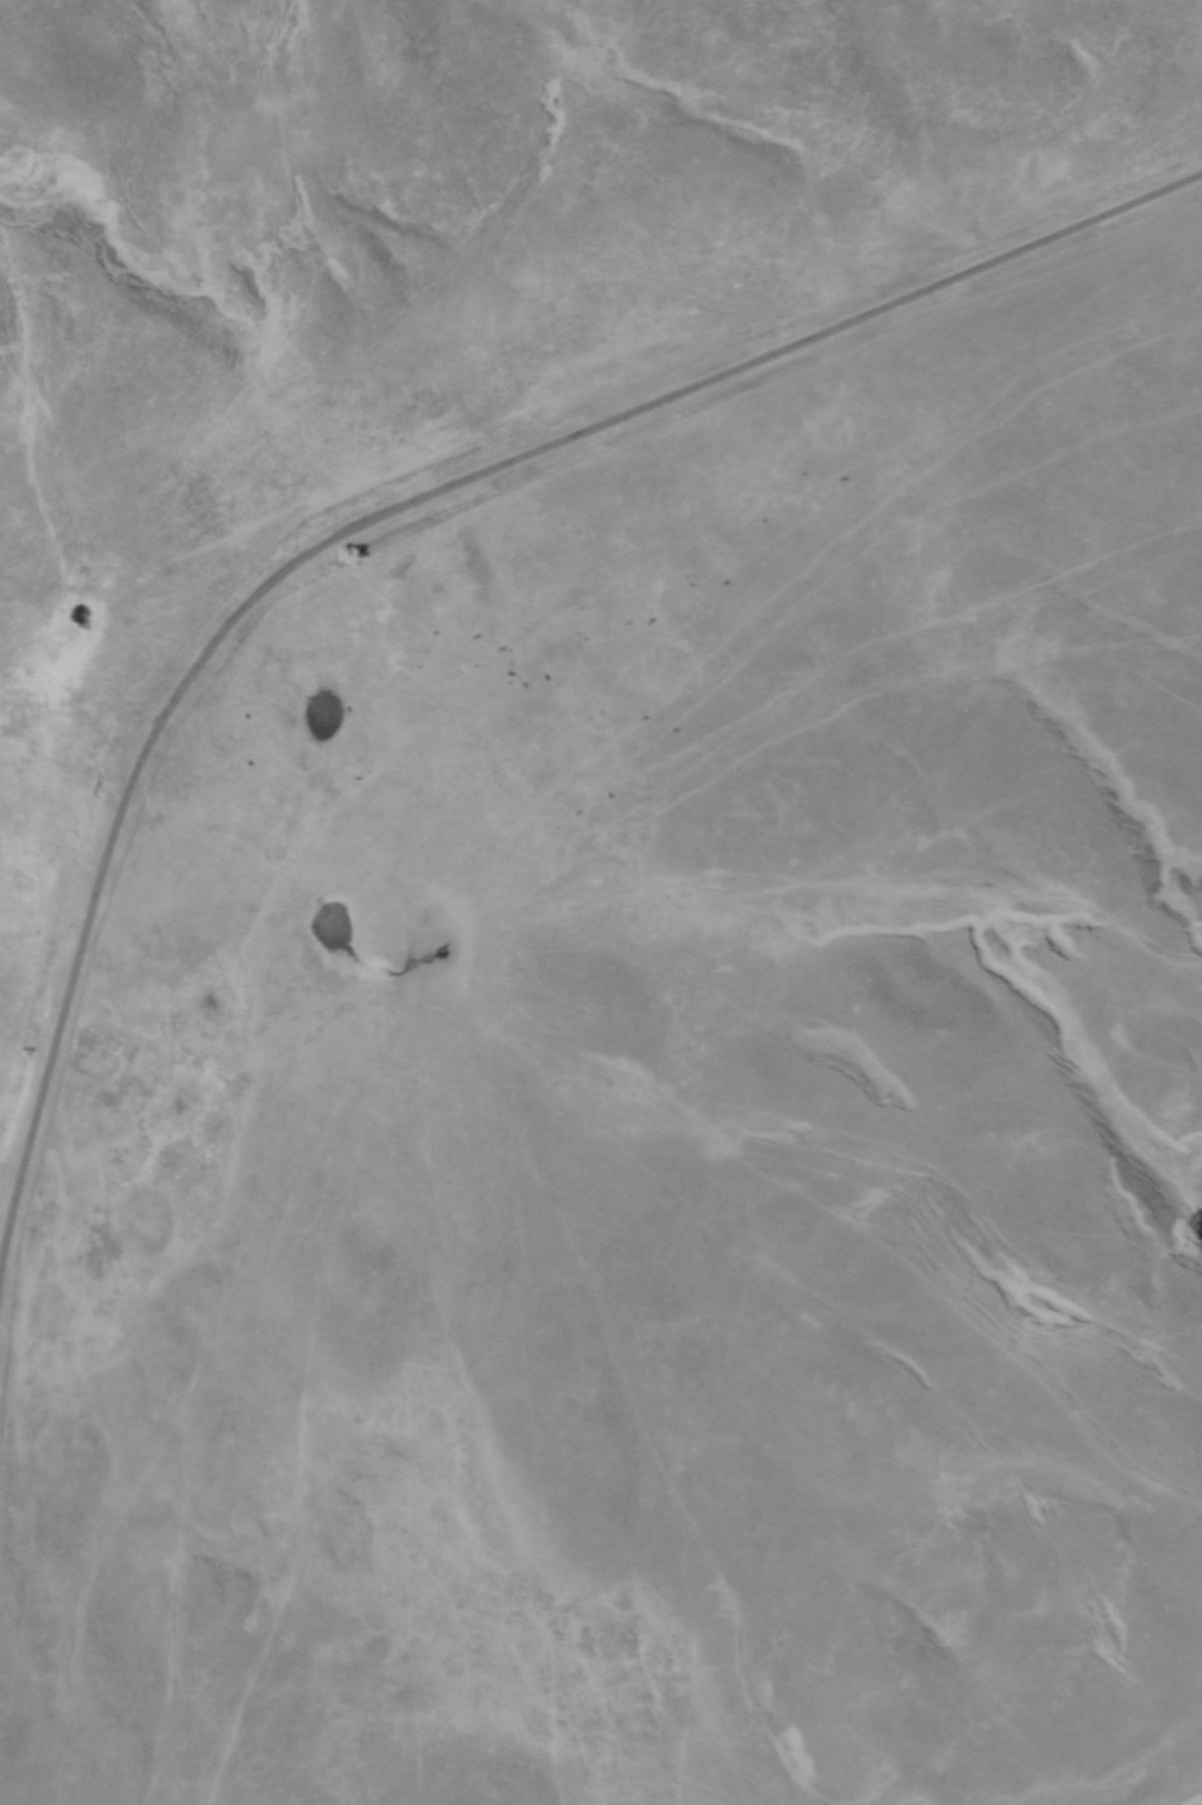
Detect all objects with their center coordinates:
road: (555, 446)
road: (42, 1093)

